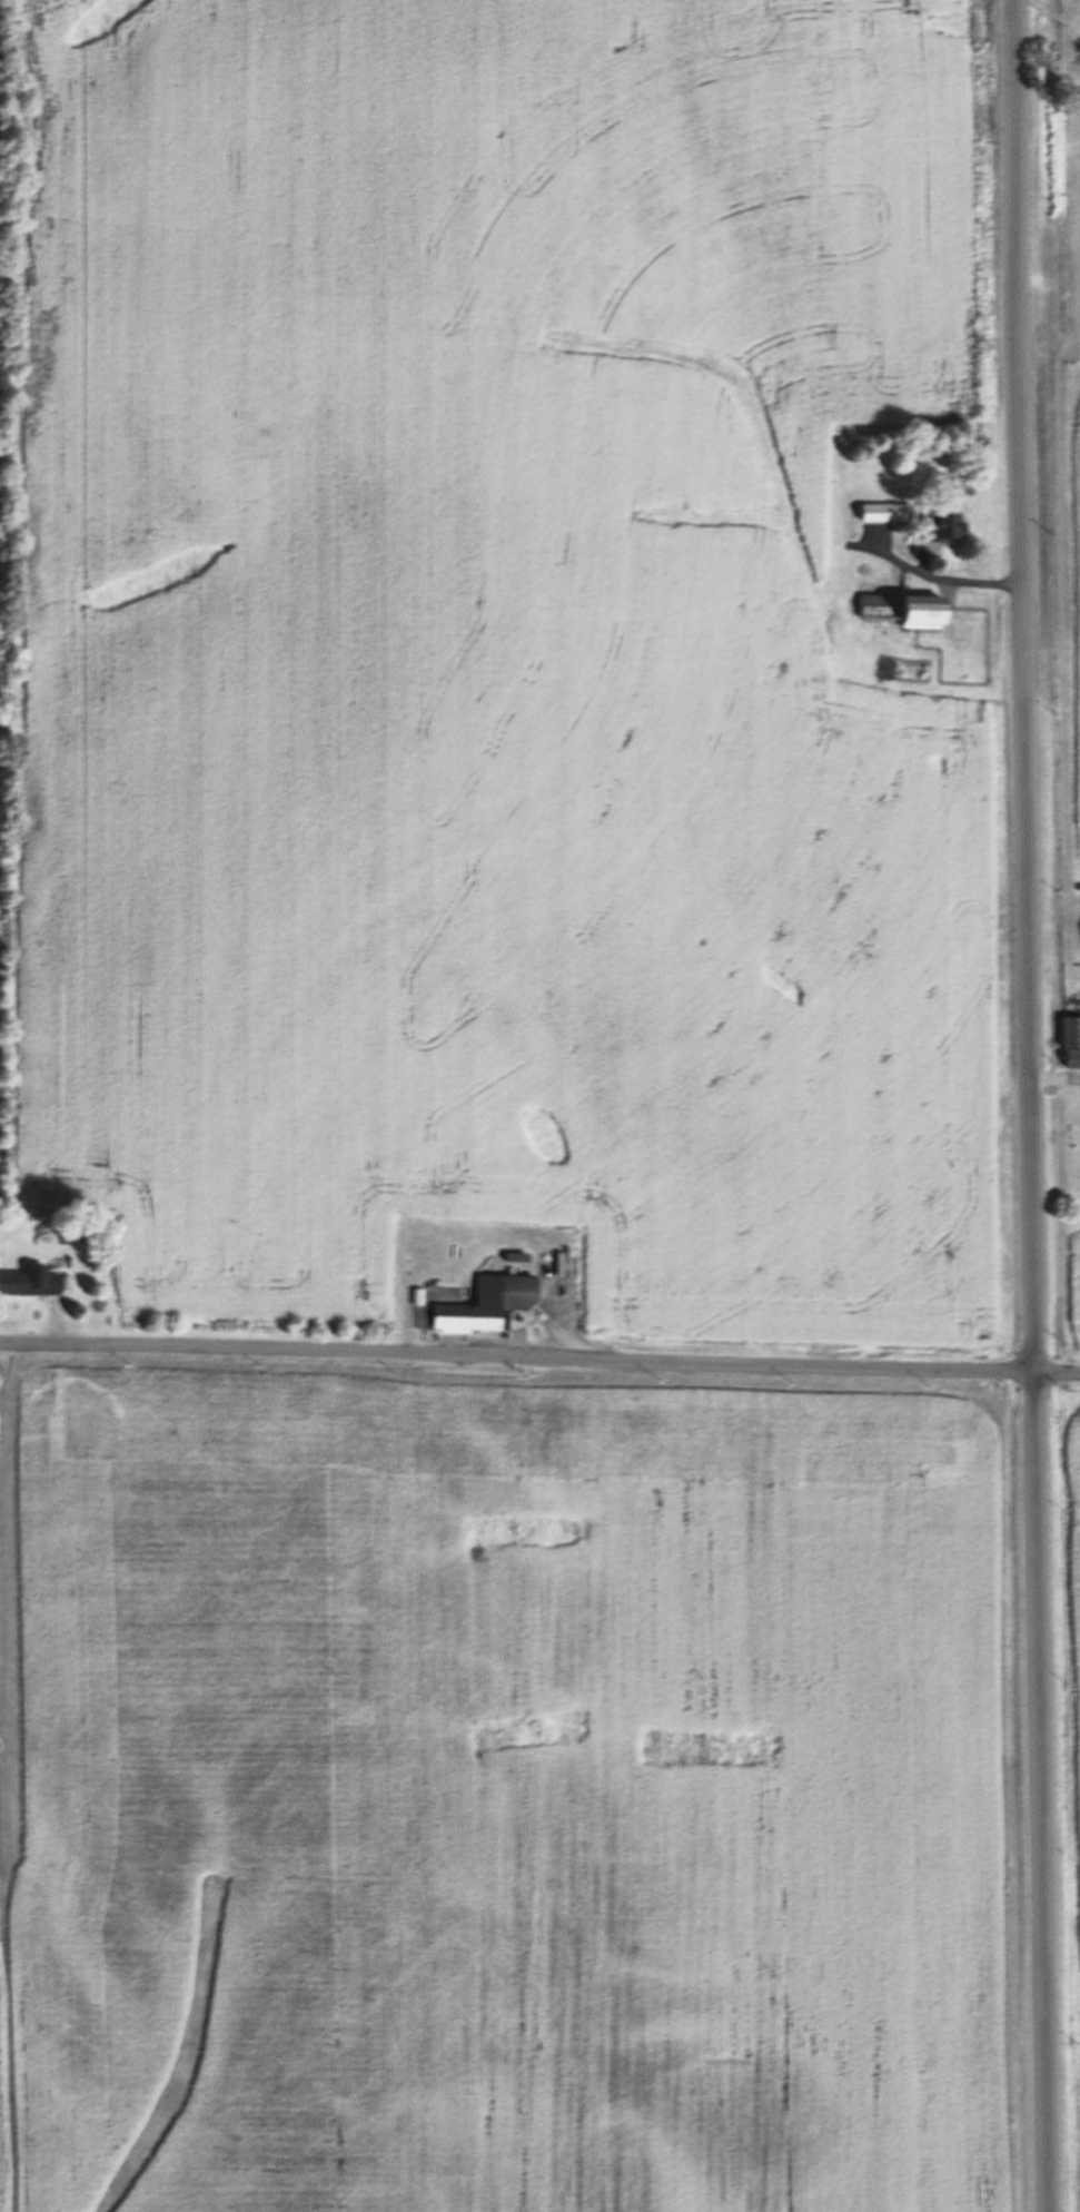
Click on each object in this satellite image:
building: (884, 511)
building: (938, 524)
road: (929, 575)
building: (901, 609)
building: (1069, 1030)
building: (1071, 1057)
road: (1053, 1079)
road: (1027, 1106)
building: (562, 1255)
building: (27, 1282)
building: (439, 1304)
road: (50, 1320)
road: (539, 1355)

